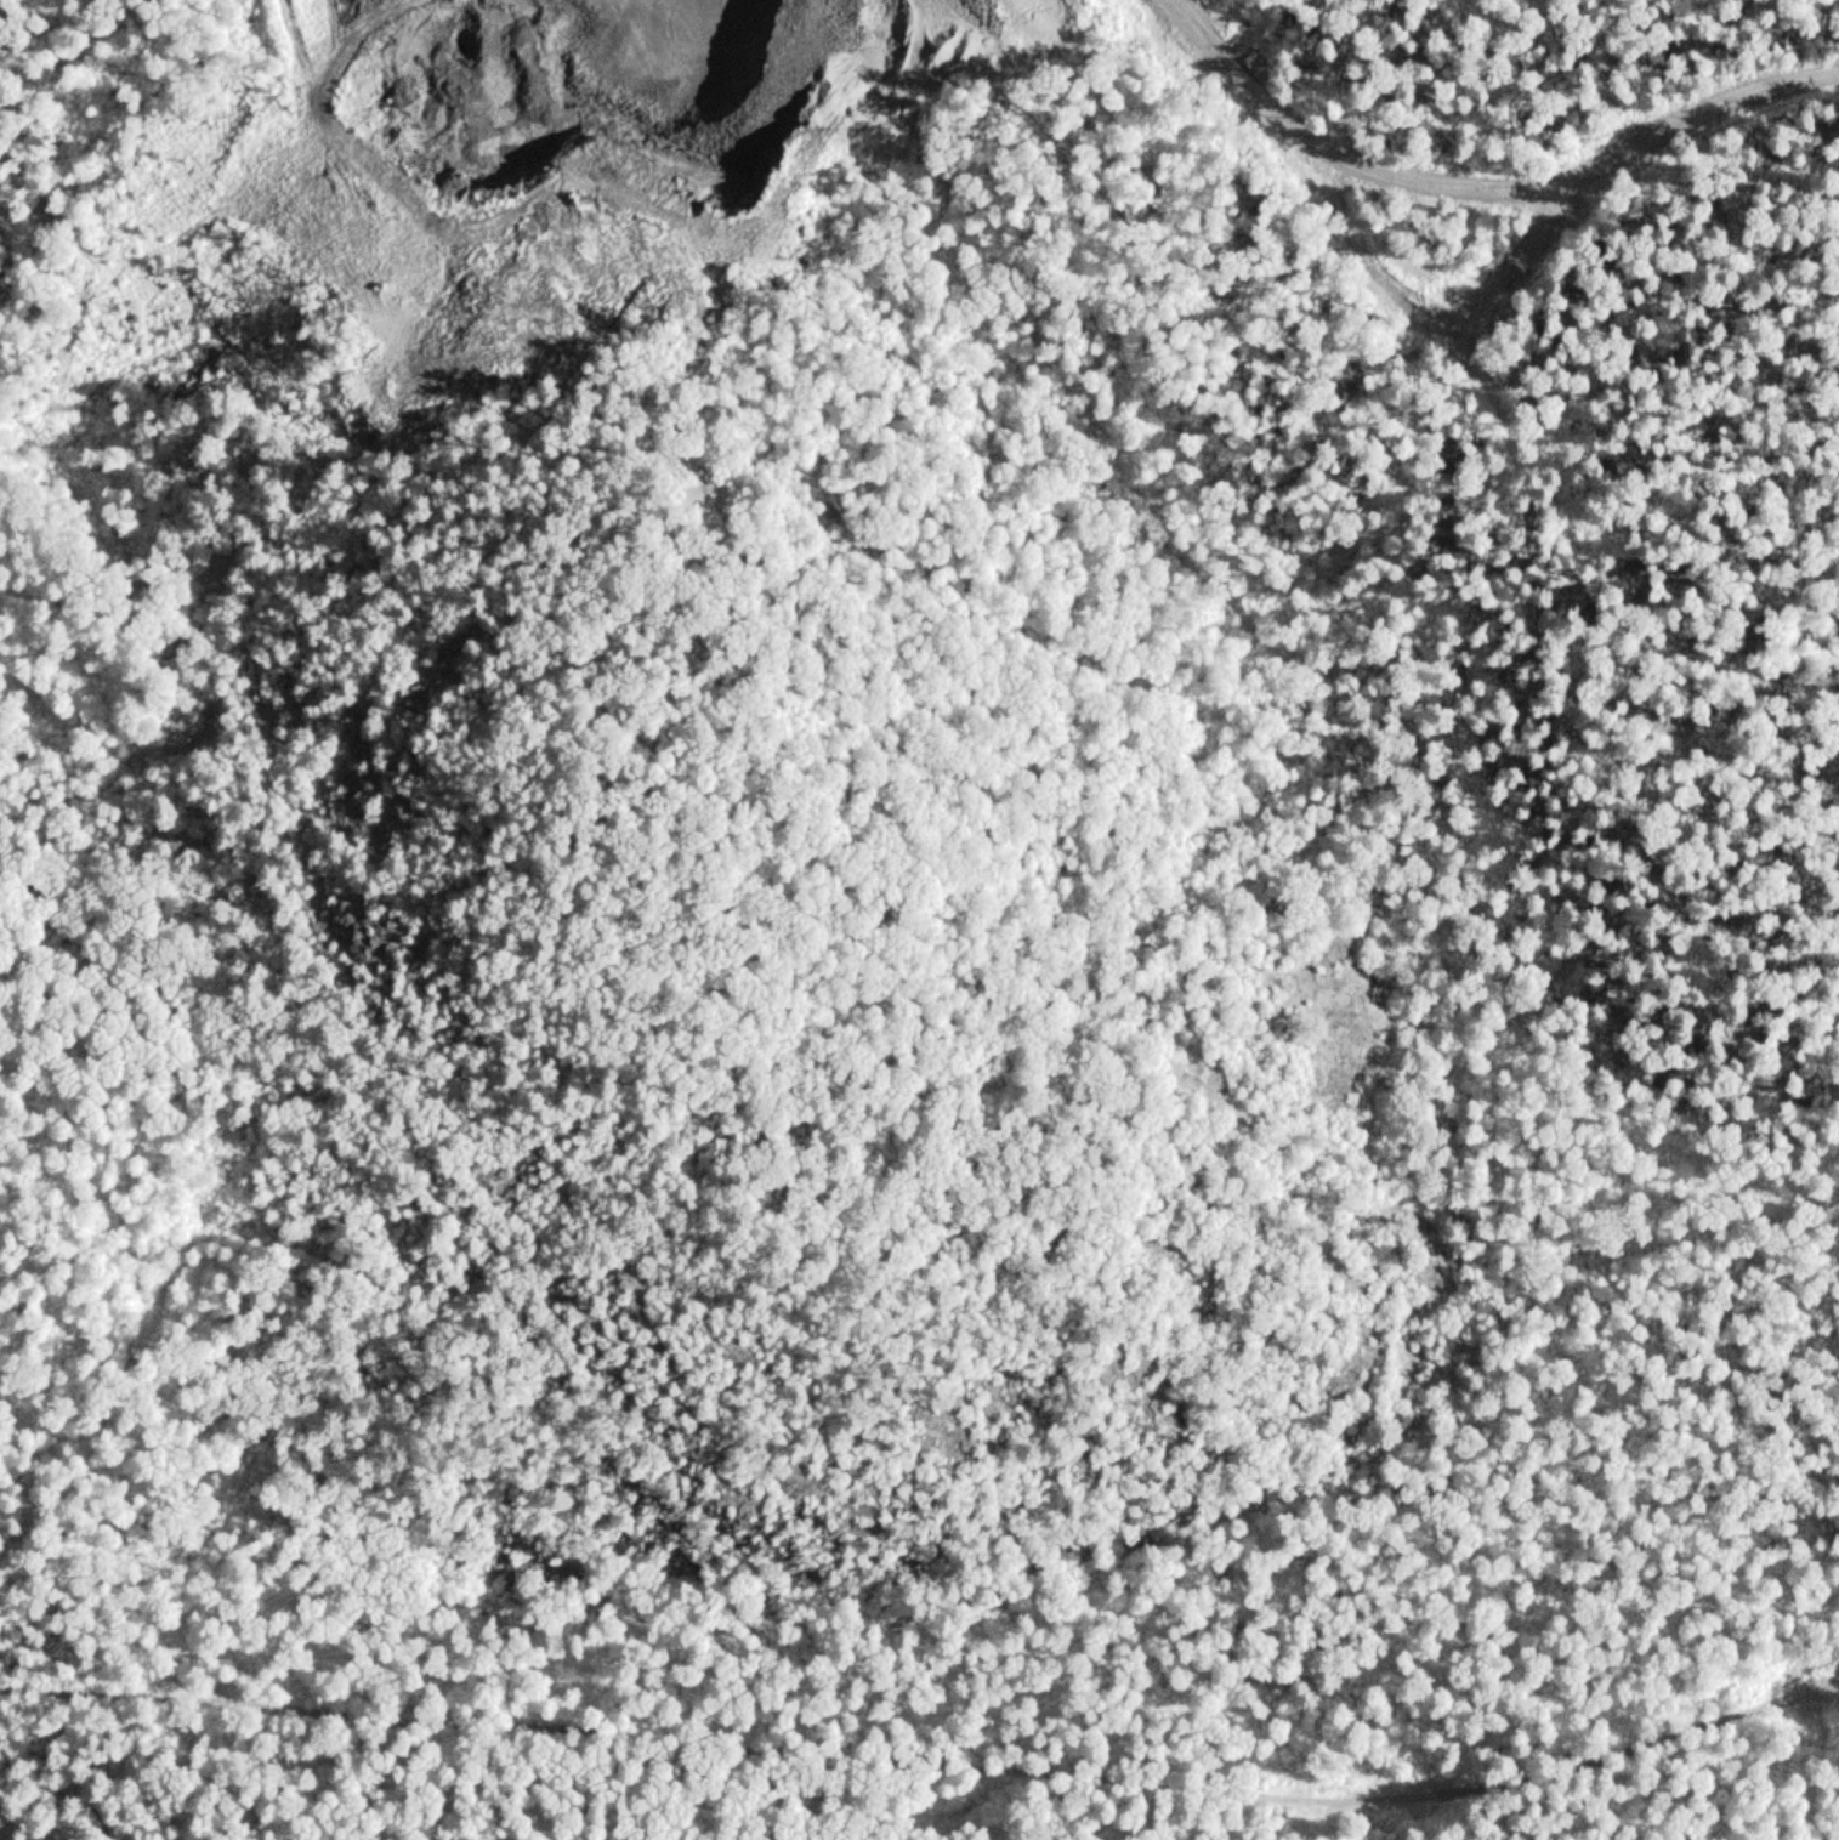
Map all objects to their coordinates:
quarry: (642, 81)
road: (1477, 188)
road: (924, 1799)

